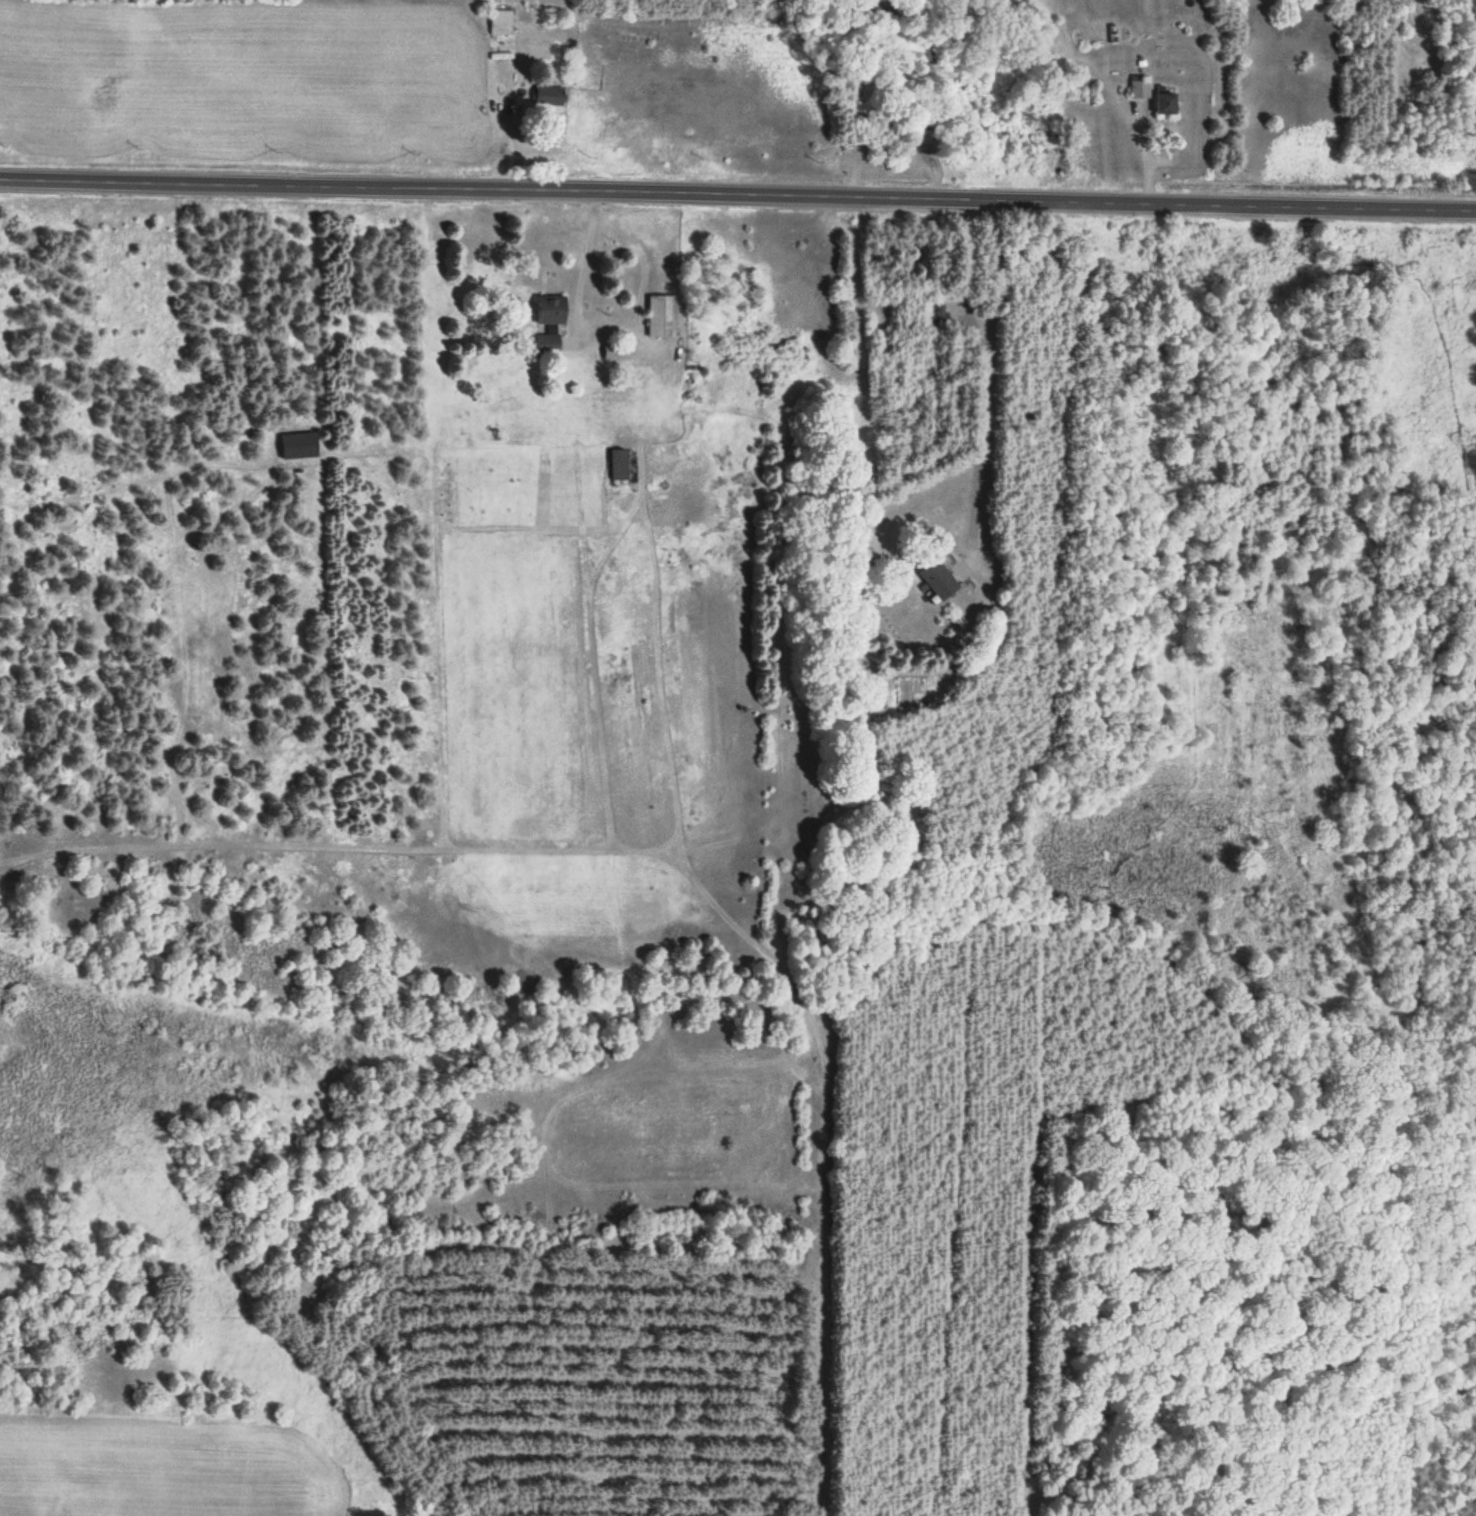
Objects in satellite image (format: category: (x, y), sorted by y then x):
building: (501, 23)
building: (1139, 86)
building: (550, 96)
building: (1166, 101)
road: (738, 195)
building: (551, 312)
building: (662, 317)
building: (612, 353)
building: (619, 465)
building: (939, 581)

